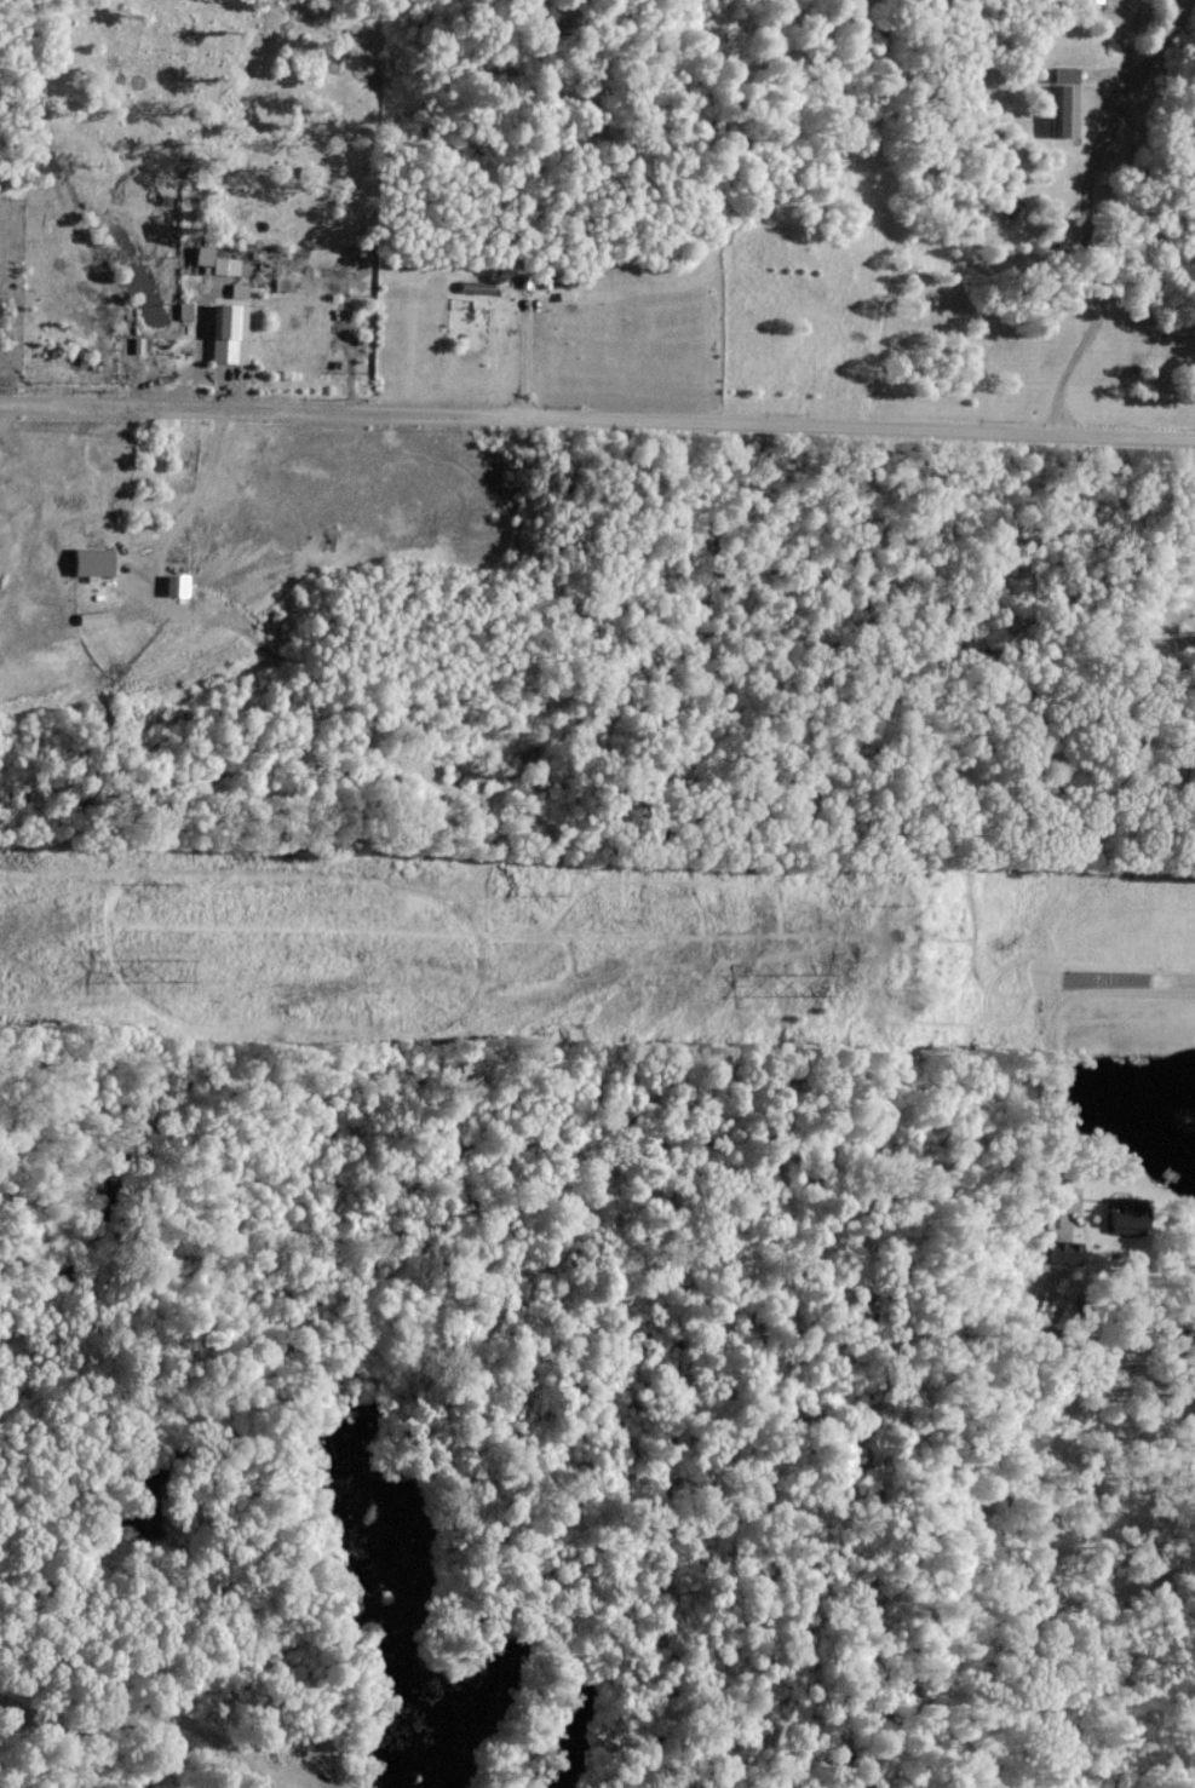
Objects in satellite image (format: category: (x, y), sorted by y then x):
building: (1093, 0)
building: (1068, 73)
building: (1072, 109)
road: (1087, 209)
building: (206, 254)
building: (241, 289)
building: (186, 309)
building: (231, 334)
road: (4, 413)
road: (597, 416)
building: (96, 560)
building: (178, 585)
power tower: (176, 965)
power tower: (814, 981)
road: (1116, 991)
building: (1130, 1215)
building: (1068, 1251)
road: (145, 1714)

